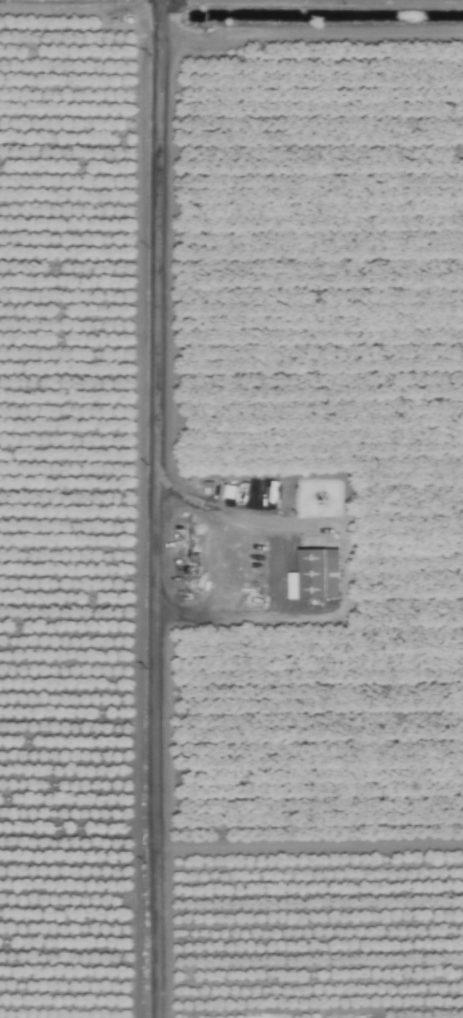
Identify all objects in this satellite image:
road: (160, 509)
road: (273, 568)
building: (315, 574)

